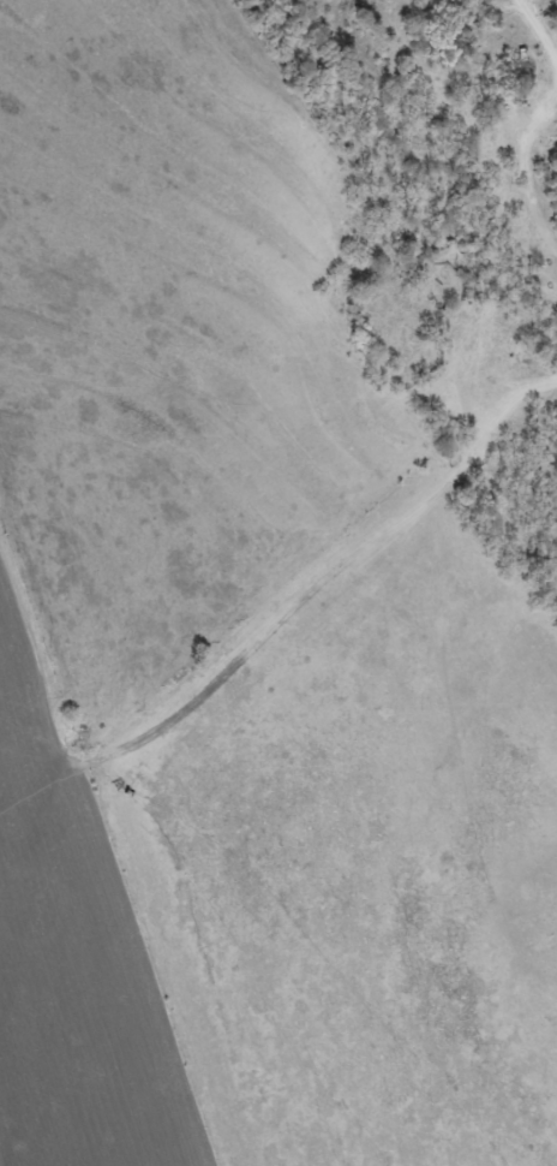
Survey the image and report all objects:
road: (541, 25)

